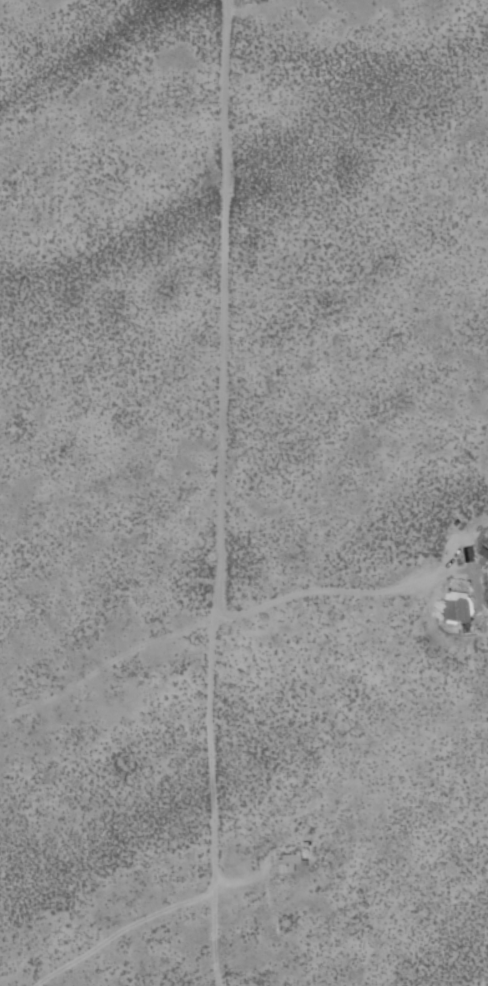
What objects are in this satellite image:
building: (288, 861)

